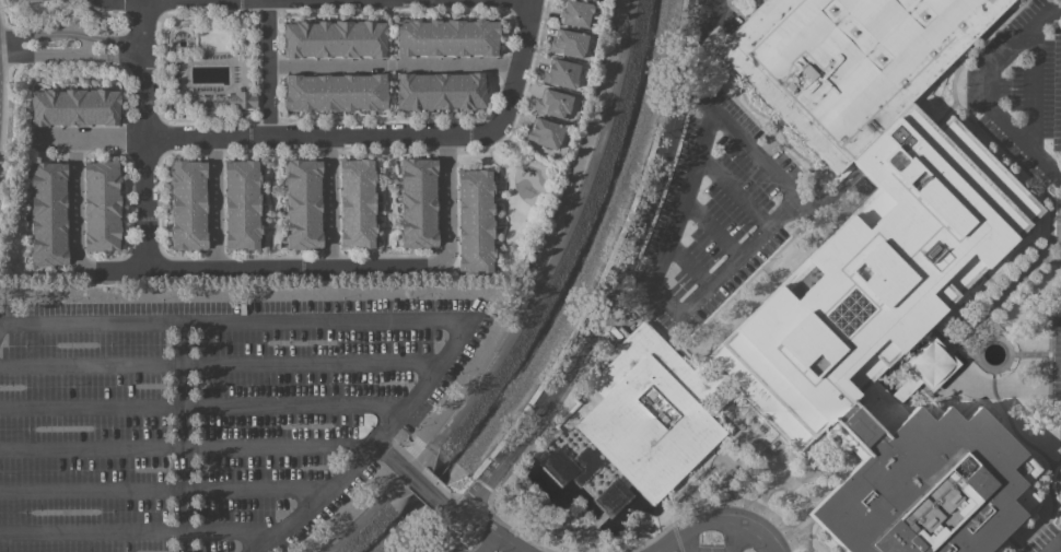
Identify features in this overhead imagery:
building: (27, 0)
road: (206, 0)
road: (130, 3)
building: (573, 13)
road: (71, 33)
building: (445, 36)
building: (334, 38)
building: (568, 43)
road: (71, 57)
road: (395, 64)
road: (269, 66)
road: (145, 68)
building: (561, 72)
road: (516, 89)
building: (440, 91)
building: (334, 92)
road: (996, 94)
road: (1042, 95)
building: (243, 98)
building: (552, 104)
building: (83, 110)
building: (544, 132)
road: (208, 133)
road: (112, 134)
road: (361, 134)
road: (80, 198)
road: (148, 201)
road: (213, 201)
road: (330, 201)
road: (453, 201)
building: (417, 202)
building: (354, 203)
building: (302, 204)
building: (187, 205)
building: (240, 205)
building: (110, 210)
building: (49, 211)
building: (483, 224)
road: (767, 227)
road: (260, 268)
road: (617, 277)
building: (860, 290)
road: (396, 320)
road: (971, 361)
road: (220, 369)
road: (205, 408)
parking lot: (213, 416)
road: (185, 450)
road: (392, 457)
road: (424, 488)
road: (156, 494)
road: (724, 522)
road: (482, 529)
road: (438, 535)
road: (136, 537)
road: (735, 537)
parking lot: (1043, 539)
road: (1050, 541)
road: (483, 543)
road: (687, 547)
parking lot: (459, 548)

